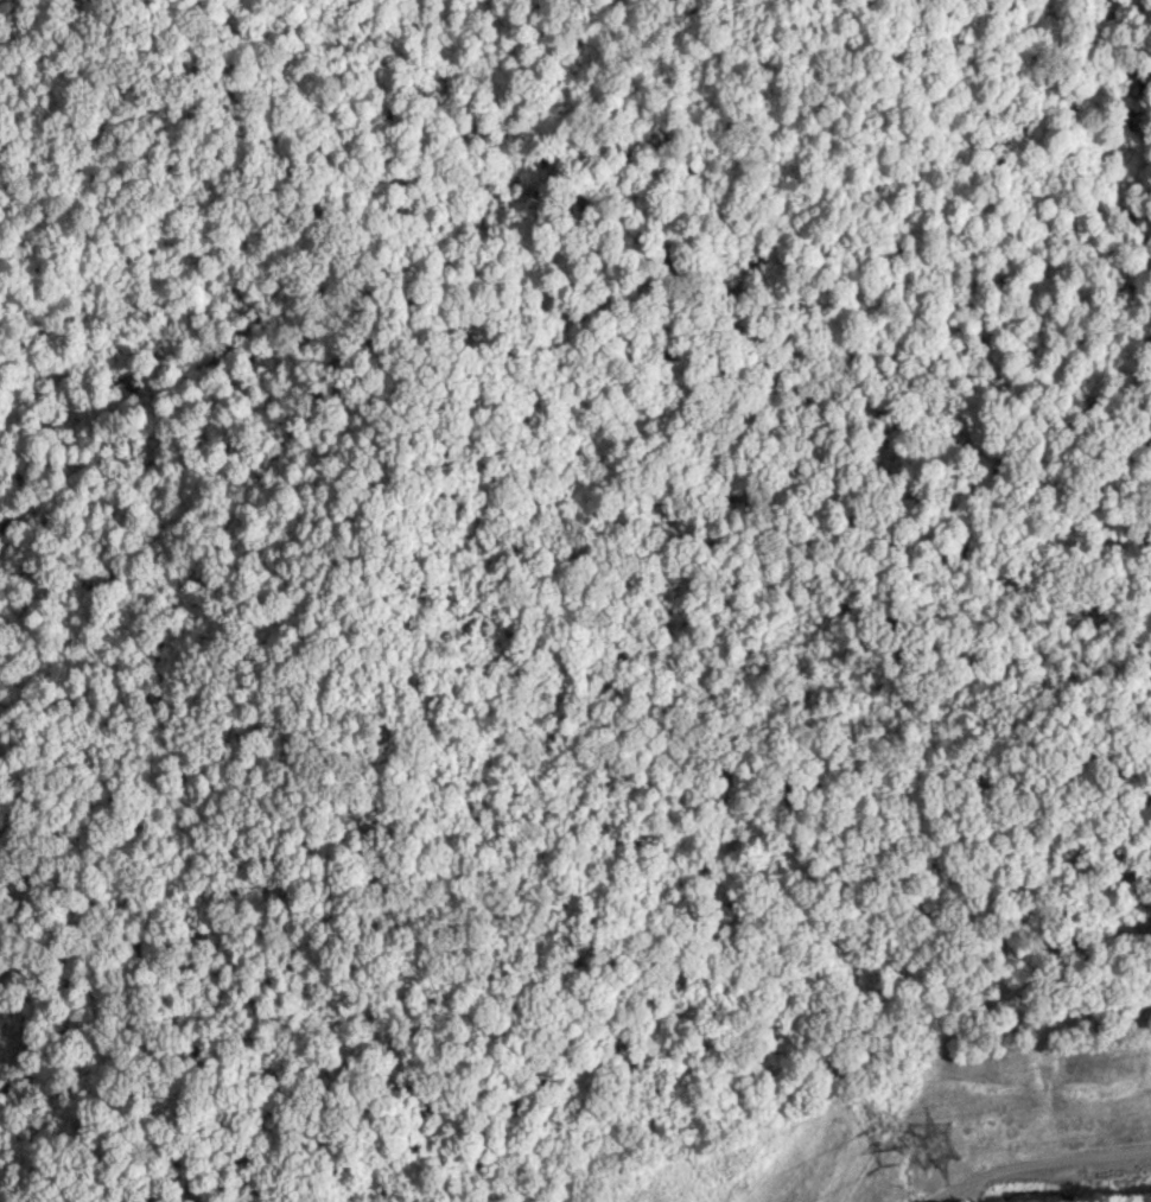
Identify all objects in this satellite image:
power tower: (945, 1144)
road: (1034, 1162)

